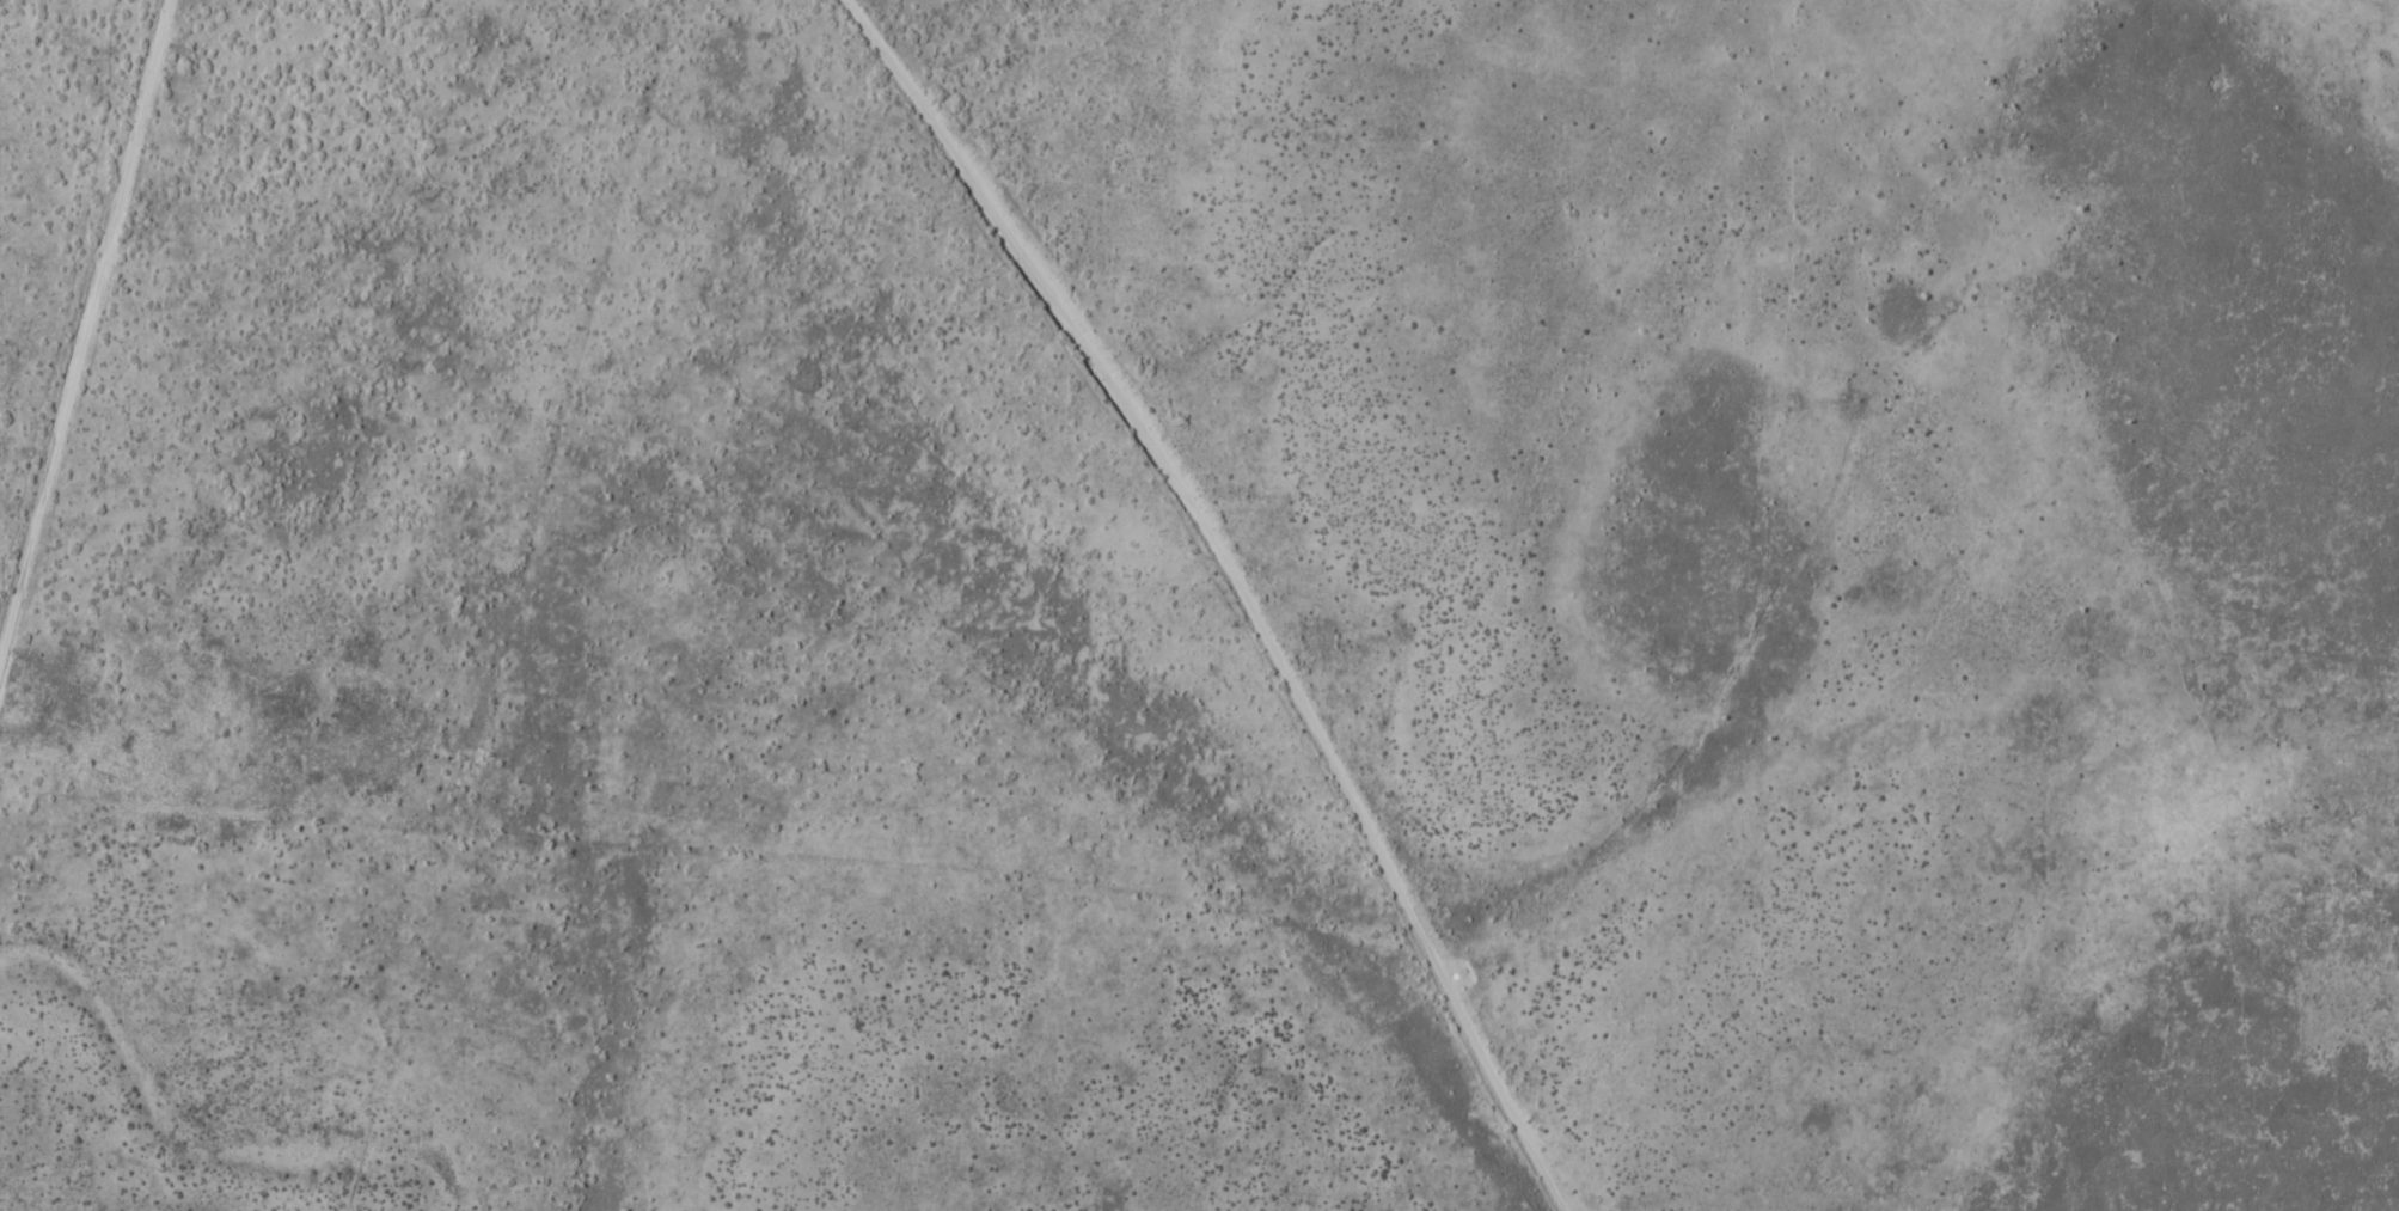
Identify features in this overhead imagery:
road: (82, 332)
road: (1250, 586)

